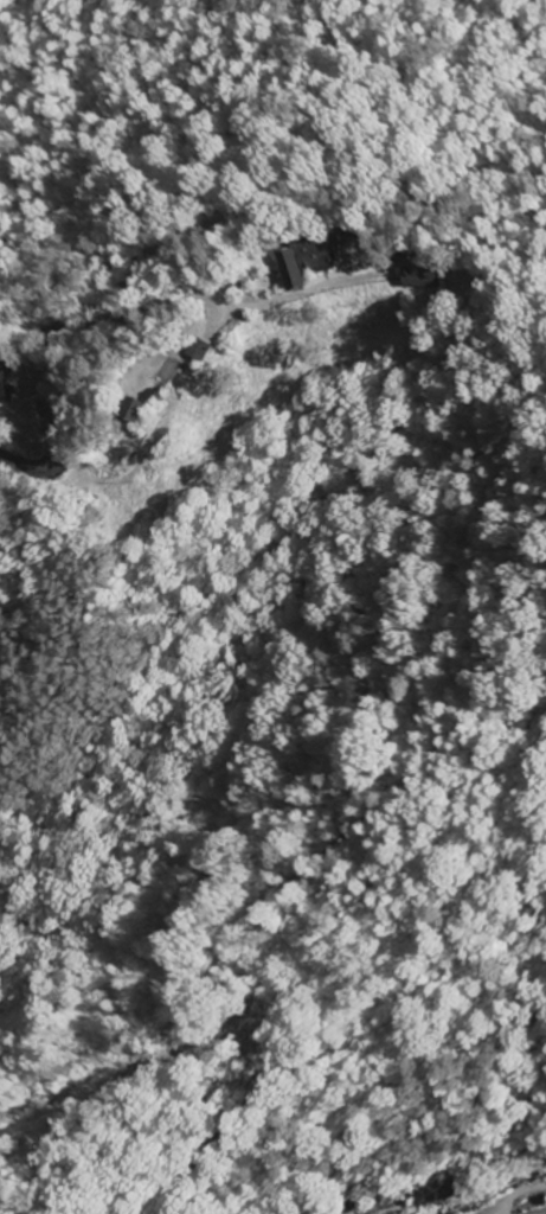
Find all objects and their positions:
road: (248, 65)
building: (310, 261)
building: (424, 279)
road: (34, 324)
building: (193, 351)
building: (11, 382)
building: (123, 411)

